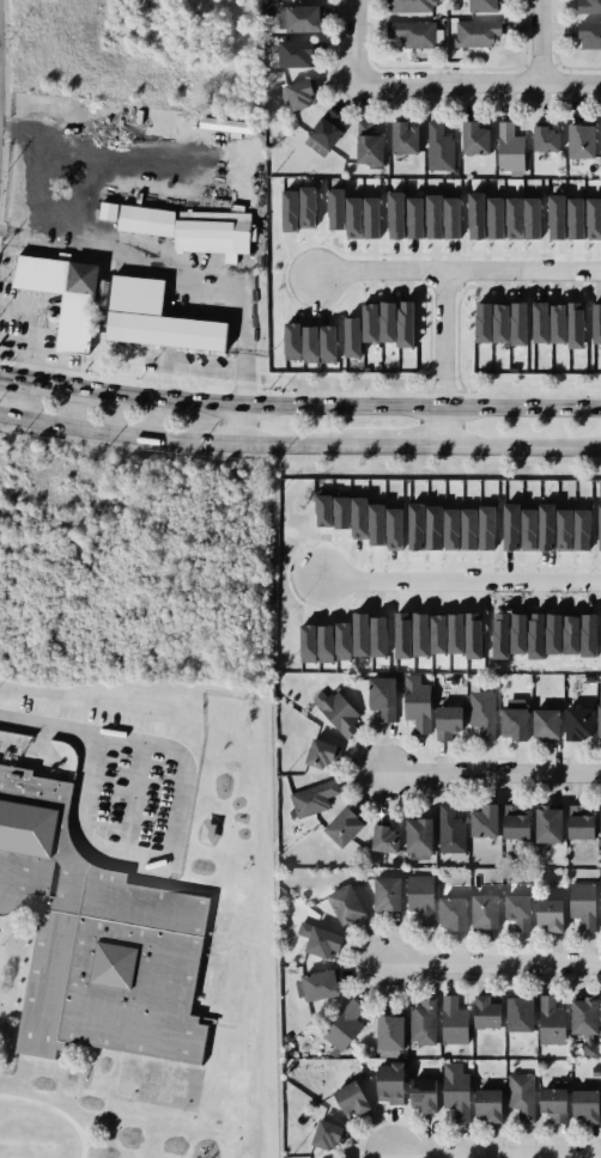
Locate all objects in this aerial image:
building: (481, 4)
building: (408, 5)
building: (454, 5)
building: (585, 6)
building: (303, 16)
building: (476, 31)
building: (412, 32)
building: (587, 33)
road: (539, 41)
building: (265, 47)
building: (295, 53)
road: (570, 83)
road: (402, 85)
building: (297, 93)
building: (224, 126)
building: (323, 132)
building: (403, 138)
building: (473, 138)
building: (544, 138)
building: (579, 140)
building: (366, 144)
building: (509, 146)
building: (438, 147)
building: (305, 206)
building: (335, 208)
building: (289, 211)
building: (394, 214)
building: (432, 215)
building: (475, 215)
building: (352, 217)
building: (370, 217)
building: (413, 217)
building: (450, 217)
building: (556, 217)
building: (496, 218)
building: (523, 218)
building: (575, 218)
building: (594, 218)
building: (181, 228)
road: (41, 231)
road: (85, 238)
road: (456, 274)
building: (105, 306)
building: (482, 321)
building: (386, 322)
building: (499, 322)
building: (539, 322)
building: (557, 322)
building: (369, 323)
building: (517, 323)
building: (596, 323)
building: (403, 324)
building: (573, 324)
road: (37, 327)
road: (241, 333)
building: (350, 336)
building: (291, 342)
building: (308, 345)
building: (326, 345)
road: (444, 359)
road: (204, 368)
road: (8, 374)
road: (36, 378)
road: (327, 406)
road: (235, 422)
road: (174, 437)
road: (397, 444)
road: (523, 445)
building: (341, 510)
building: (324, 511)
building: (359, 518)
building: (376, 524)
building: (511, 526)
building: (546, 526)
building: (600, 526)
building: (394, 529)
building: (529, 529)
building: (573, 529)
road: (457, 577)
building: (380, 699)
building: (414, 702)
building: (338, 713)
building: (479, 714)
building: (595, 714)
building: (573, 720)
building: (443, 721)
building: (509, 723)
building: (540, 723)
road: (97, 730)
building: (315, 752)
road: (494, 769)
building: (311, 796)
building: (600, 819)
building: (479, 821)
building: (575, 823)
building: (511, 824)
building: (544, 824)
building: (339, 825)
building: (201, 829)
building: (448, 831)
building: (414, 835)
building: (380, 836)
building: (382, 895)
building: (418, 897)
building: (582, 903)
building: (599, 903)
building: (342, 904)
building: (480, 912)
building: (449, 913)
building: (514, 913)
building: (546, 915)
building: (316, 939)
building: (101, 941)
road: (494, 963)
building: (314, 985)
building: (600, 1011)
building: (480, 1012)
building: (516, 1014)
building: (581, 1017)
building: (449, 1022)
building: (548, 1022)
building: (420, 1024)
building: (341, 1026)
building: (387, 1034)
building: (386, 1084)
building: (418, 1095)
building: (453, 1095)
building: (548, 1095)
building: (516, 1097)
building: (346, 1098)
building: (484, 1108)
building: (581, 1108)
building: (322, 1132)
road: (496, 1154)
building: (332, 1157)

